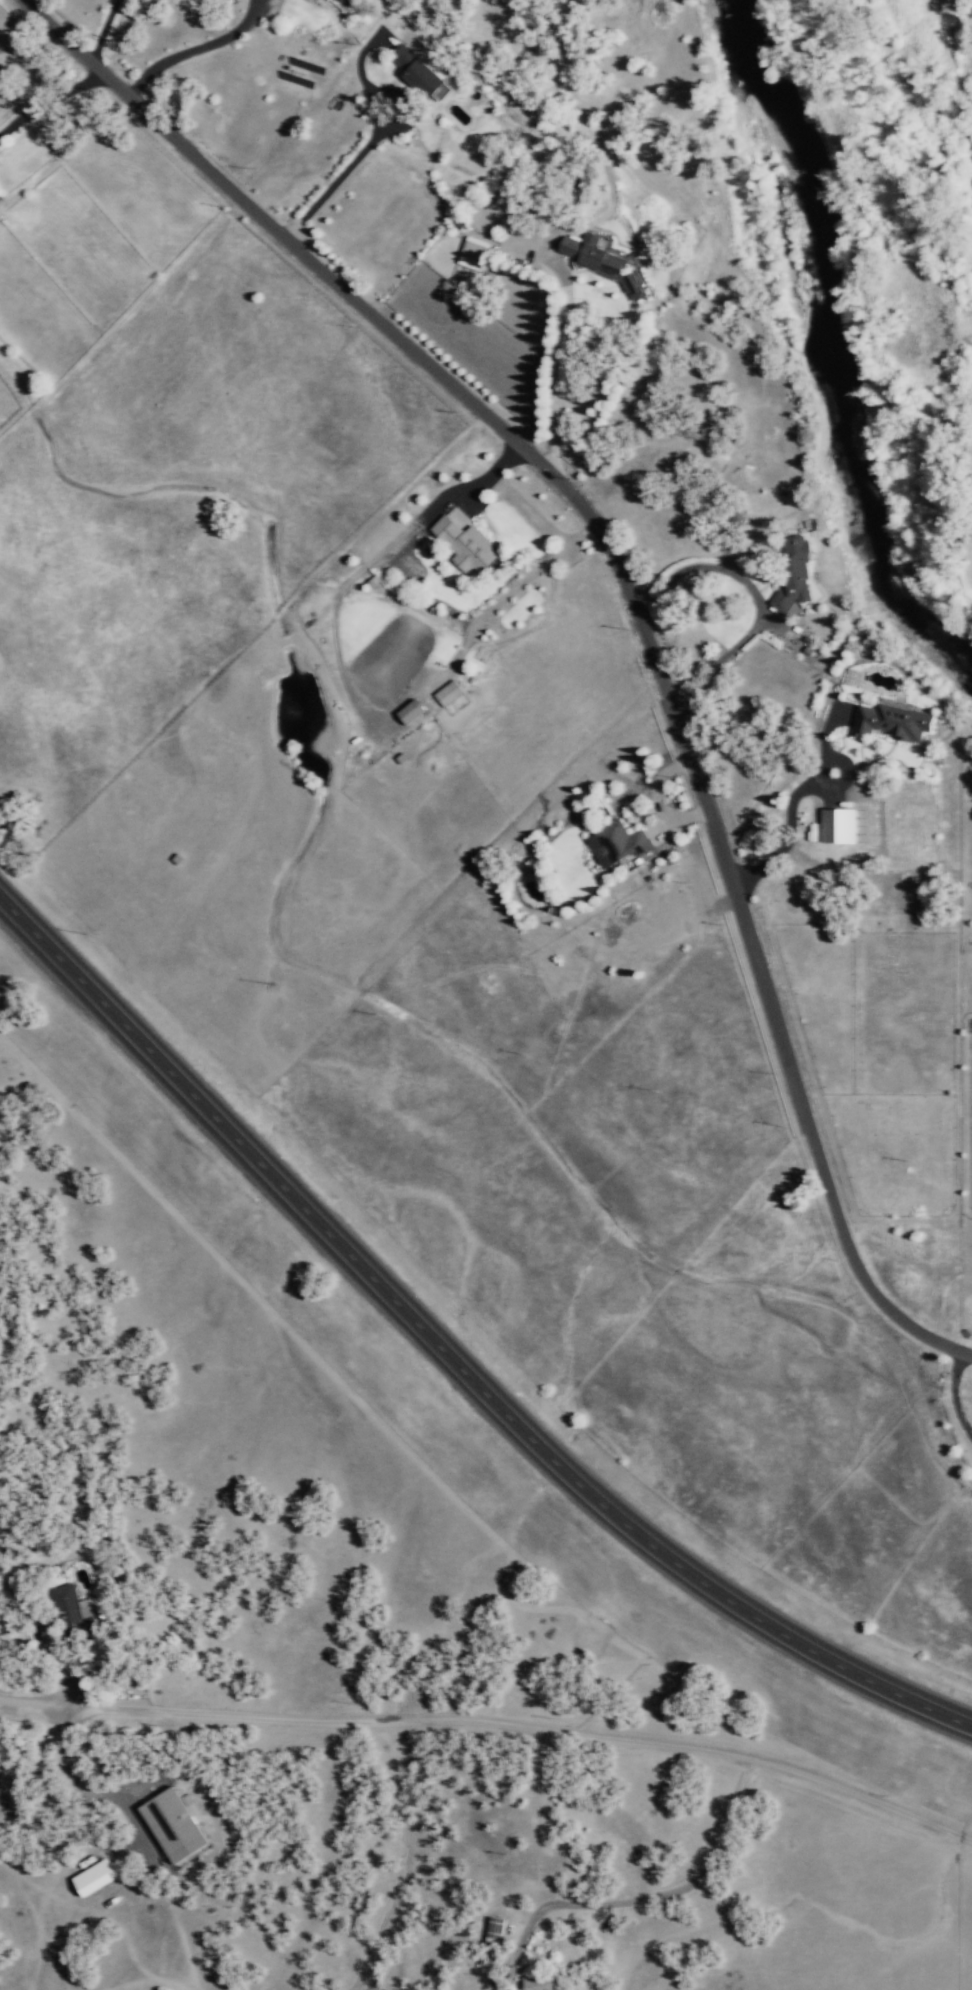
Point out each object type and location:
building: (322, 0)
building: (419, 76)
building: (470, 253)
building: (600, 262)
river: (834, 355)
building: (462, 545)
building: (789, 572)
road: (626, 596)
building: (446, 693)
building: (407, 712)
building: (889, 722)
building: (835, 826)
building: (615, 843)
road: (450, 1362)
road: (646, 1745)
building: (177, 1824)
building: (98, 1877)
building: (497, 1930)
building: (543, 1984)

